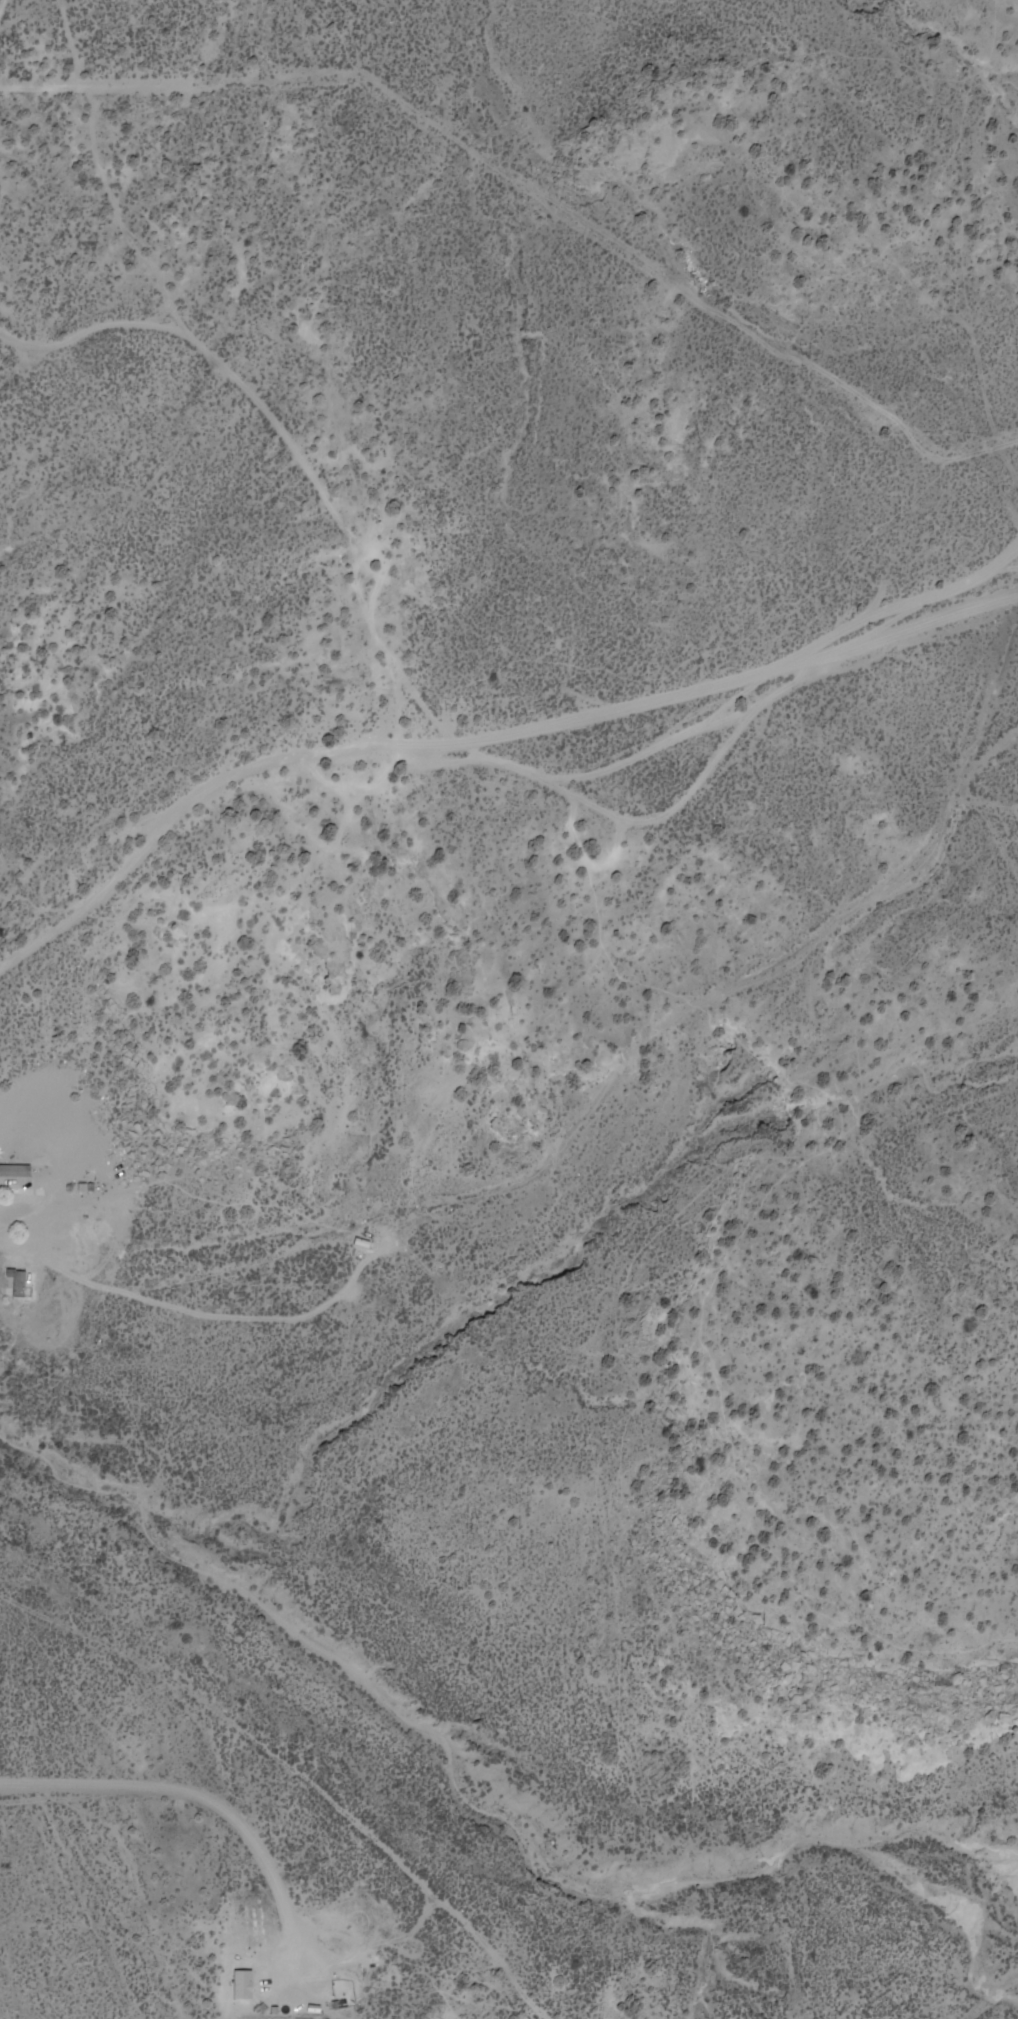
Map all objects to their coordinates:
road: (19, 26)
road: (576, 47)
road: (478, 735)
building: (25, 1184)
road: (41, 1259)
road: (294, 1914)
building: (235, 1985)
road: (995, 2000)

